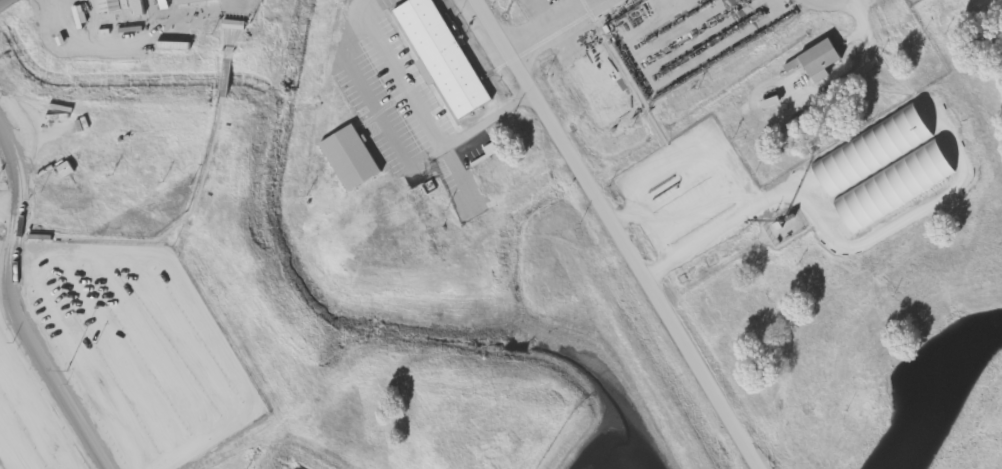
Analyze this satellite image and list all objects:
road: (0, 0)
building: (123, 6)
building: (186, 6)
building: (439, 56)
building: (825, 62)
building: (877, 150)
building: (354, 159)
building: (485, 177)
building: (899, 186)
power plant: (459, 220)
road: (619, 234)
building: (422, 241)
road: (13, 306)

